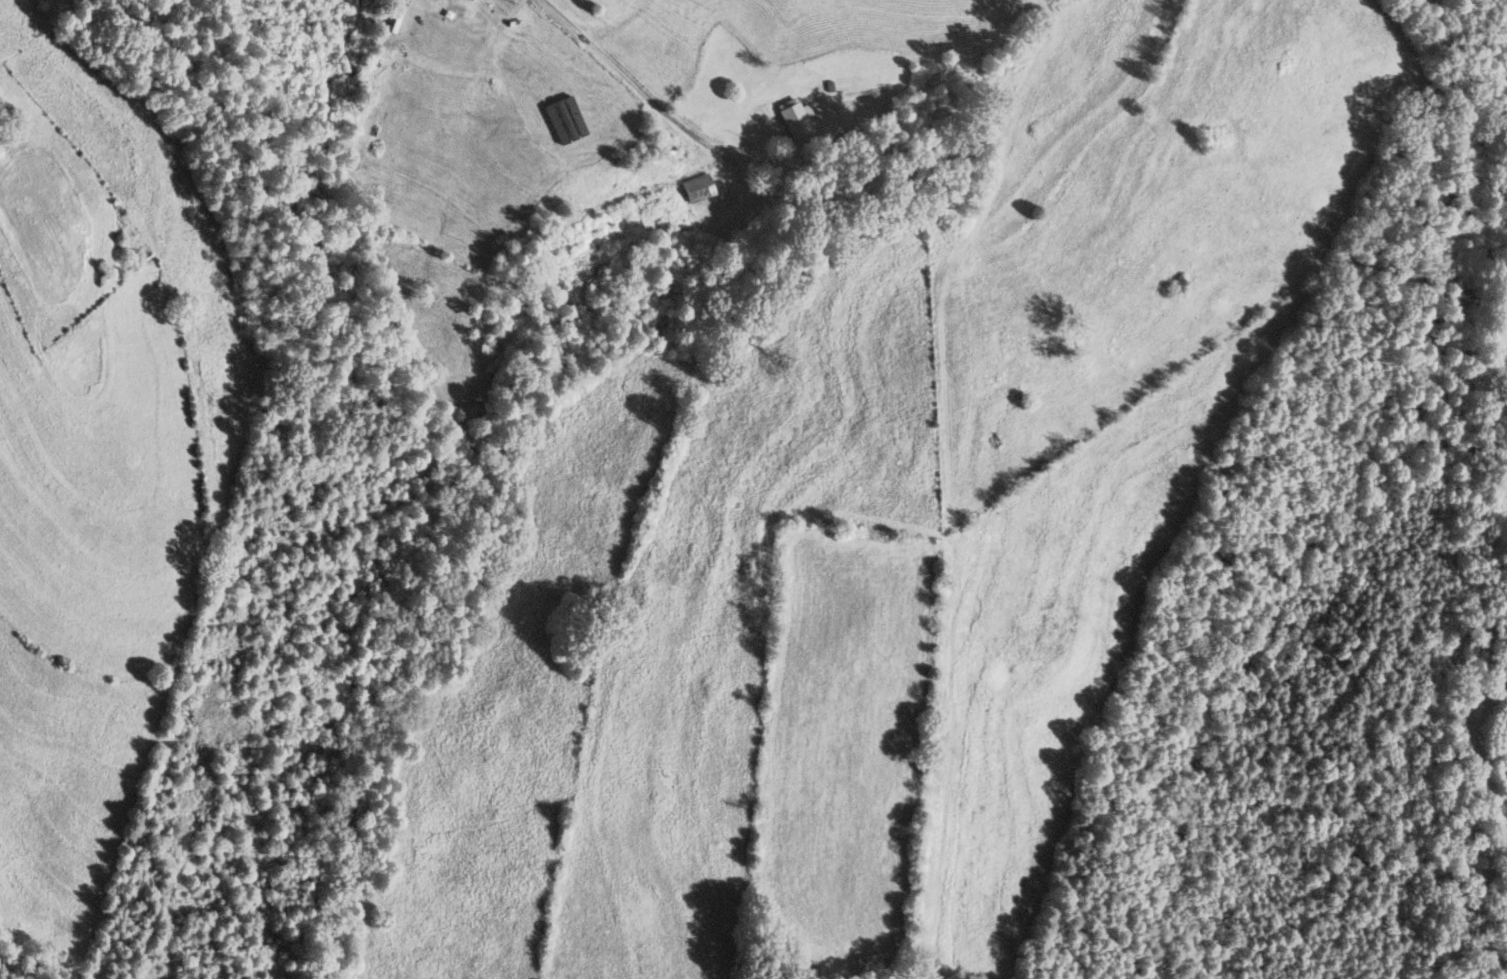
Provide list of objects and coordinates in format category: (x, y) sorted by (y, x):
road: (673, 132)
building: (696, 187)
building: (599, 229)

